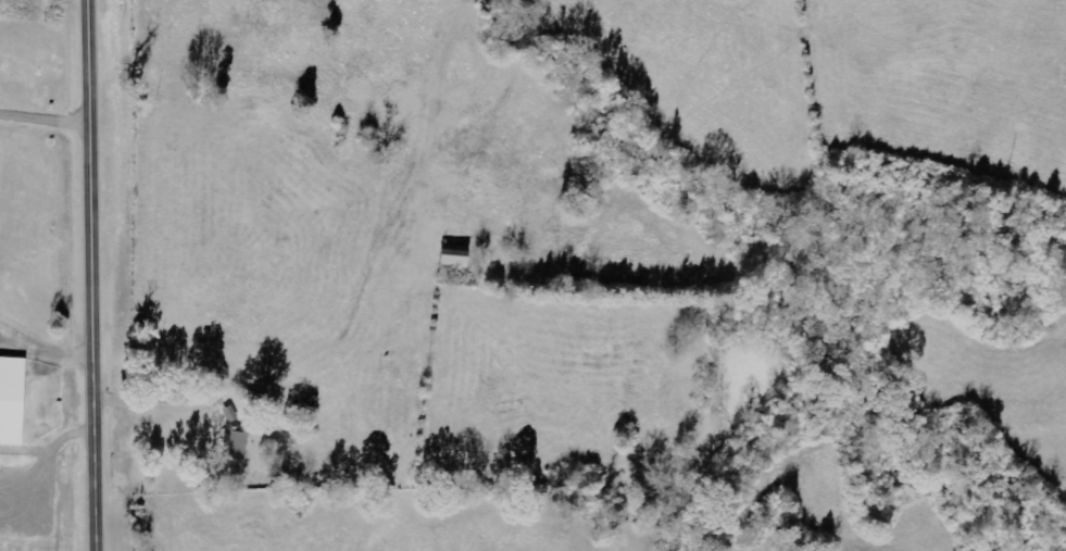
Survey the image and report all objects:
road: (47, 117)
building: (461, 261)
road: (96, 275)
building: (10, 398)
building: (240, 440)

